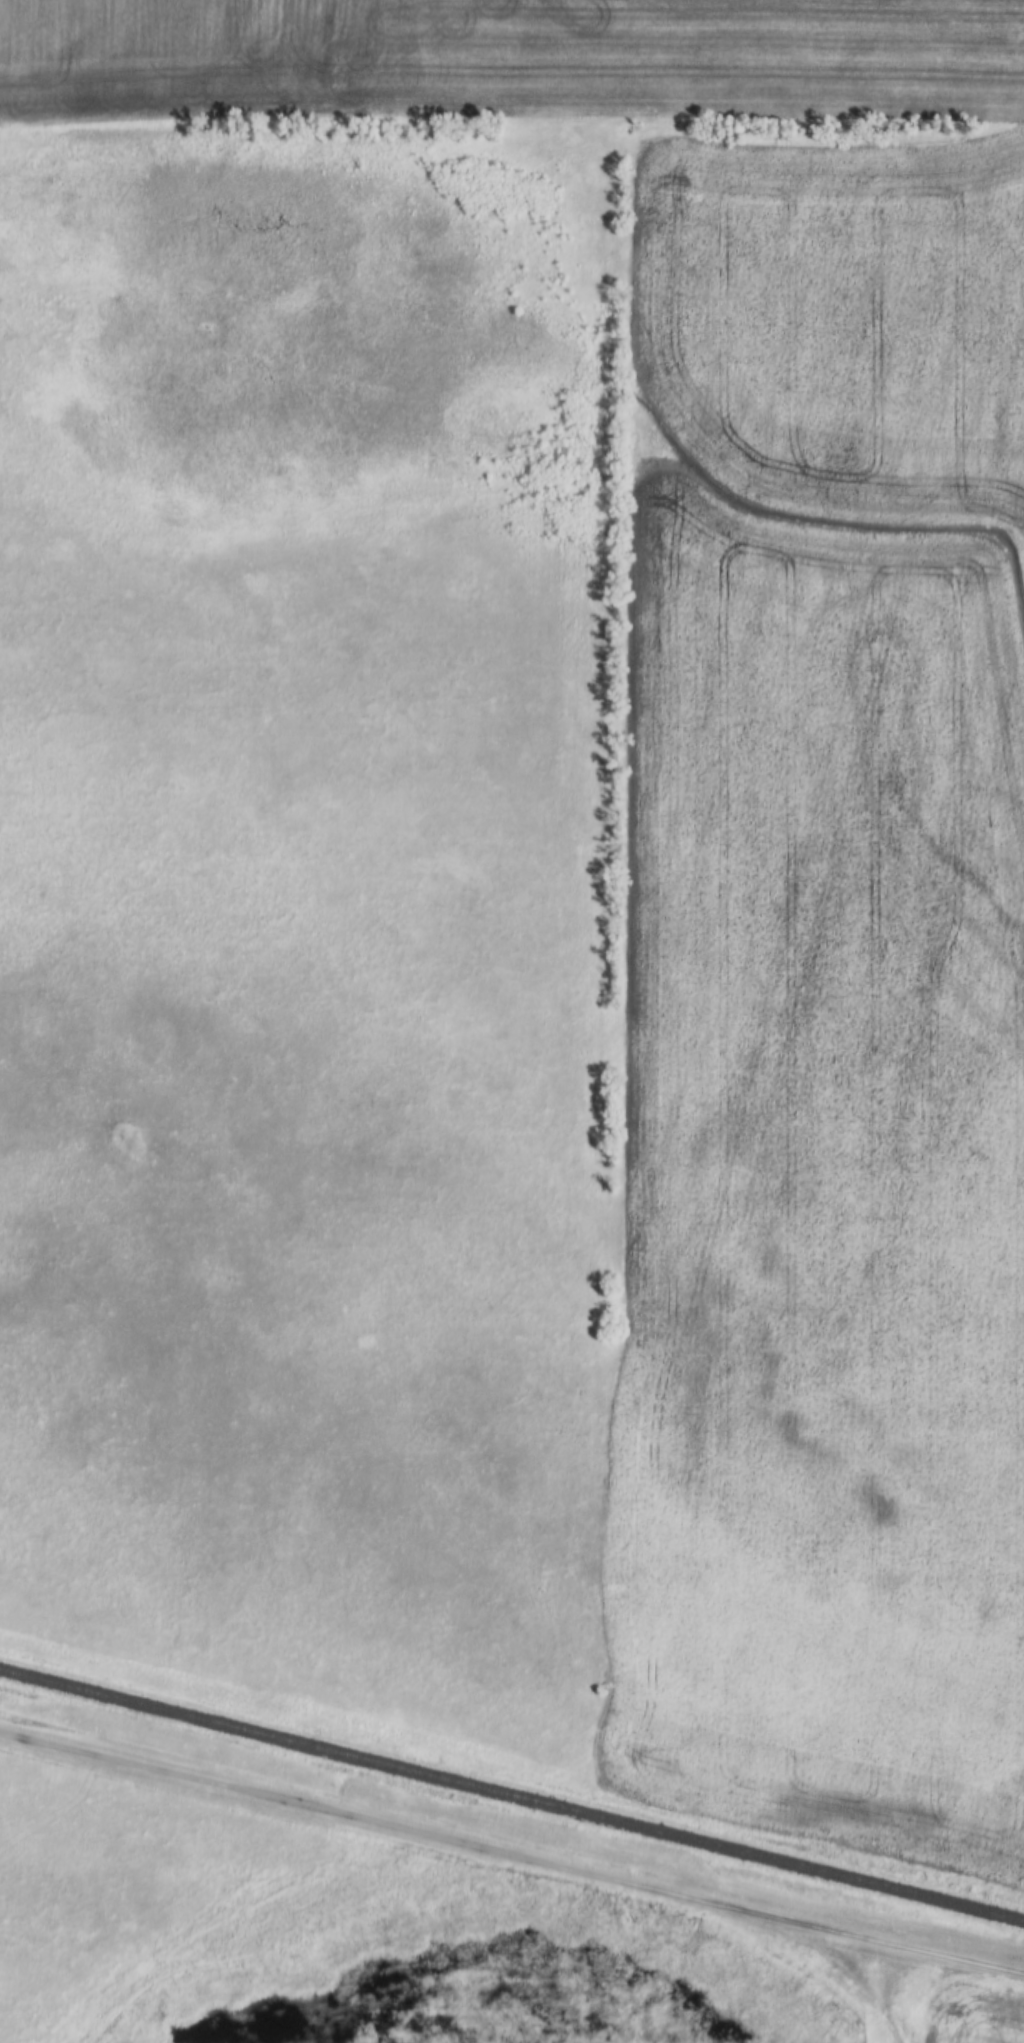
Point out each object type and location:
railway: (512, 1796)
road: (511, 1860)

